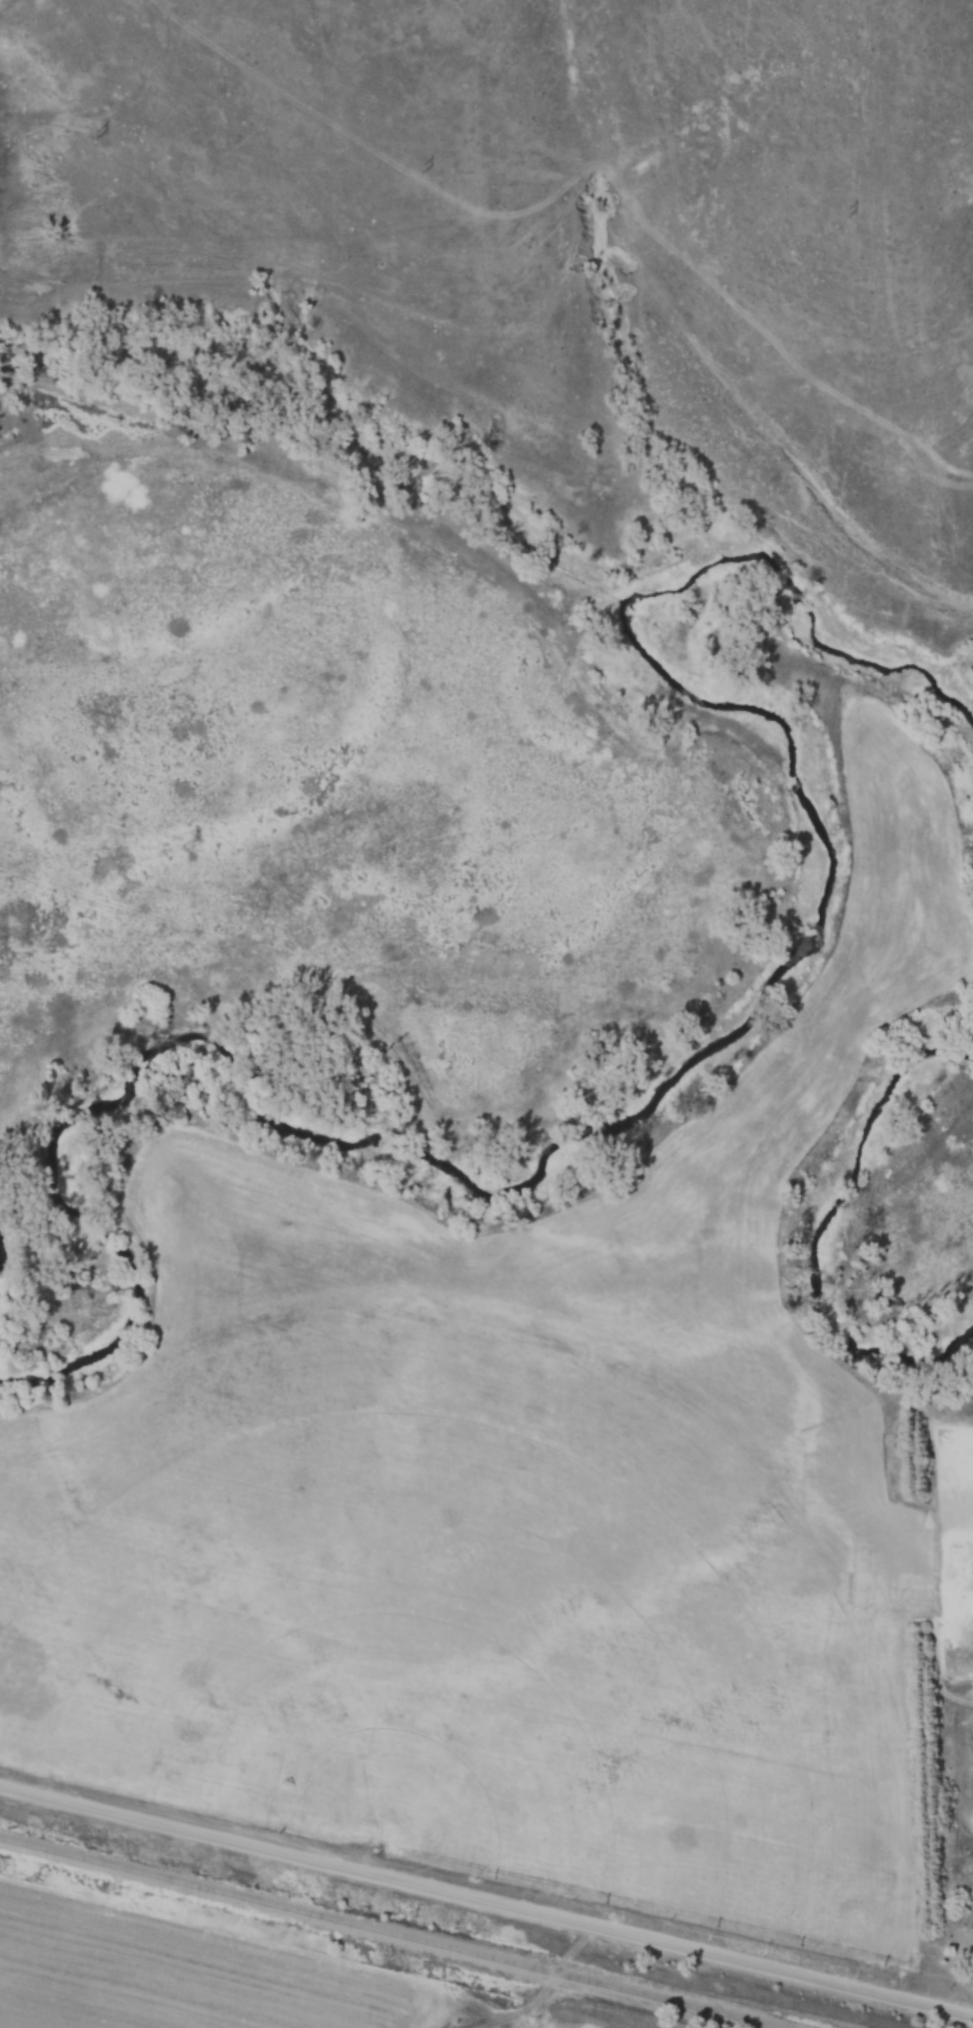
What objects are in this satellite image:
road: (486, 1902)
railway: (389, 1932)
crop: (178, 1975)

